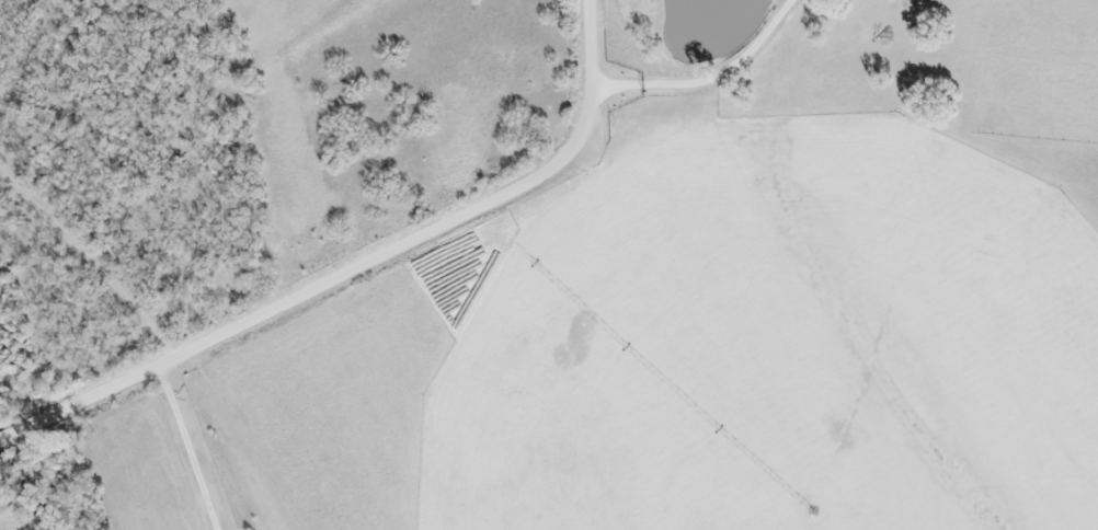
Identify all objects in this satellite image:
road: (708, 69)
road: (370, 261)
road: (13, 435)
road: (192, 446)
river: (22, 494)

